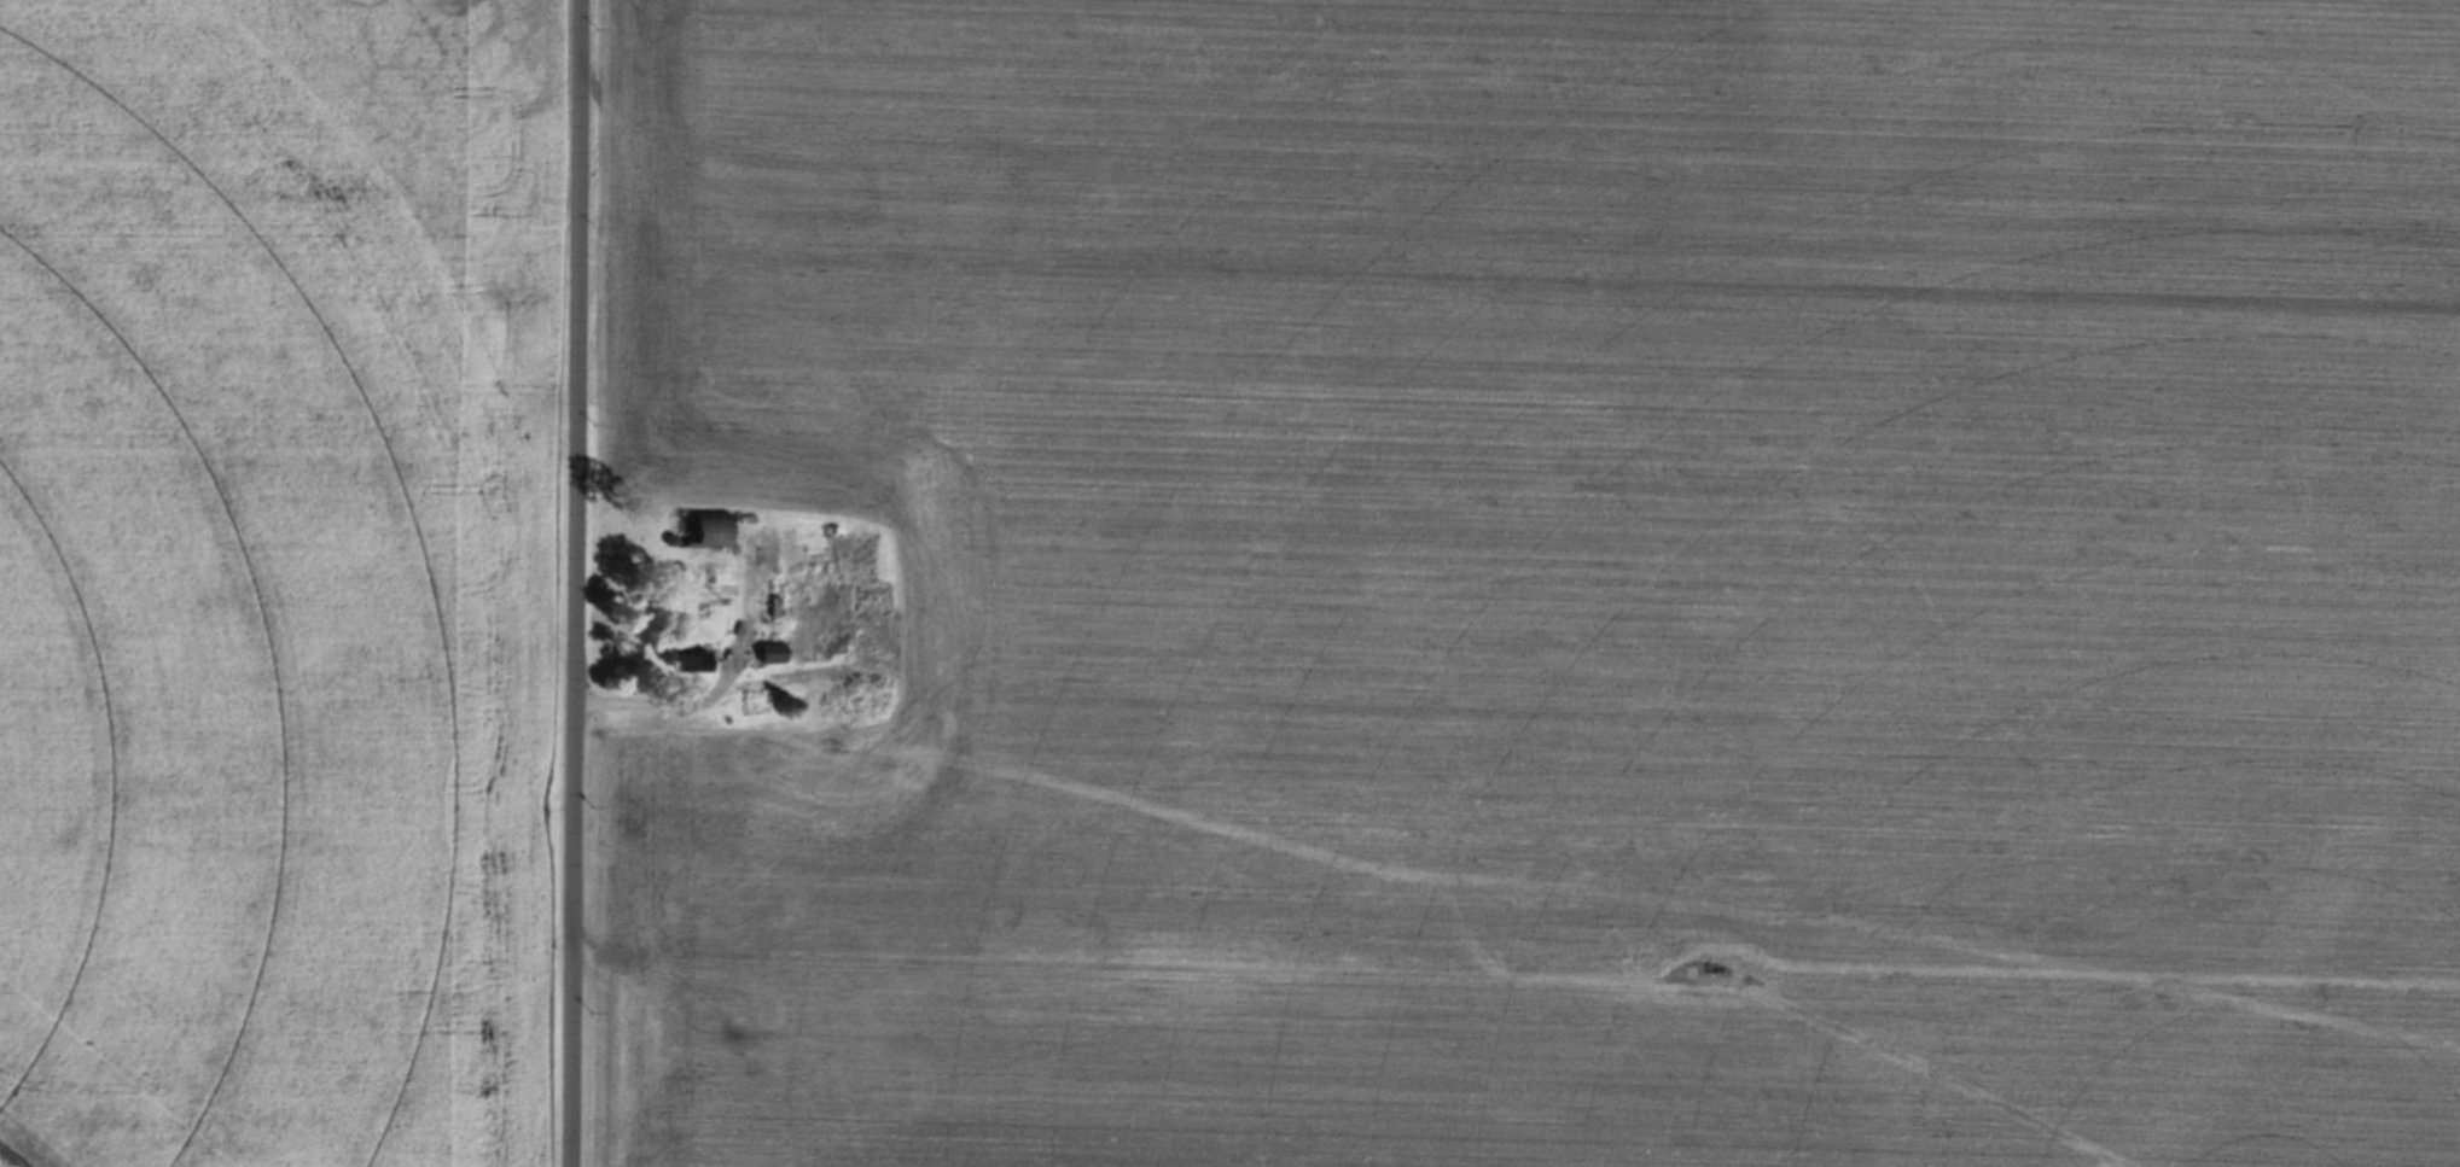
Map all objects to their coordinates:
building: (699, 527)
building: (804, 568)
building: (708, 570)
road: (574, 583)
building: (866, 584)
building: (836, 642)
building: (768, 652)
building: (671, 654)
building: (871, 663)
road: (714, 692)
building: (814, 699)

